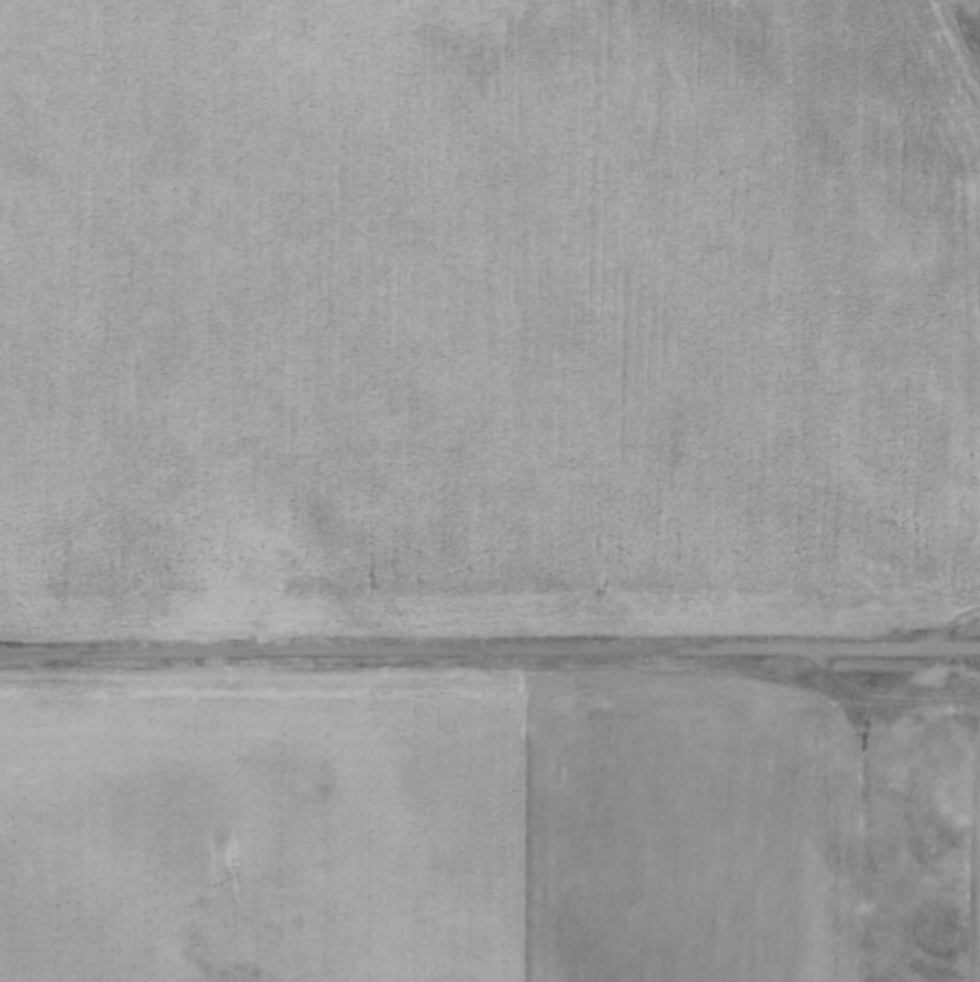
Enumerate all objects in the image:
road: (490, 651)

